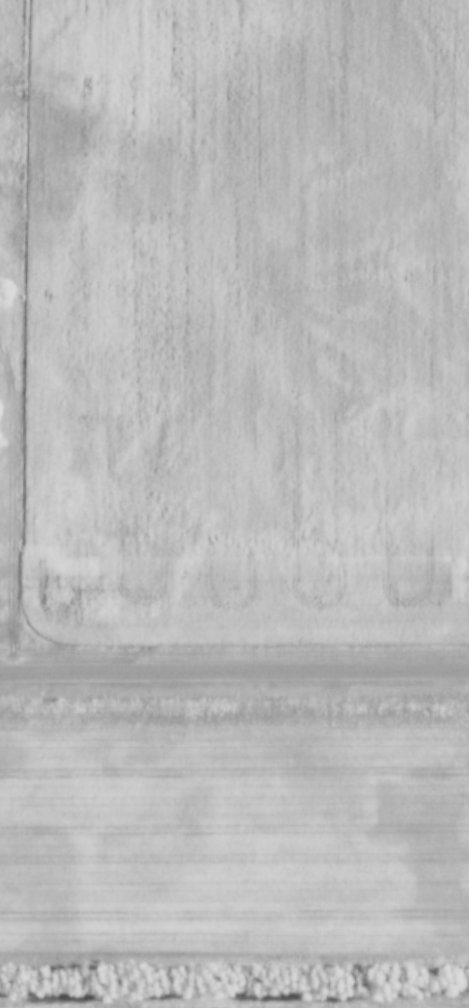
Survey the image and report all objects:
road: (234, 672)

